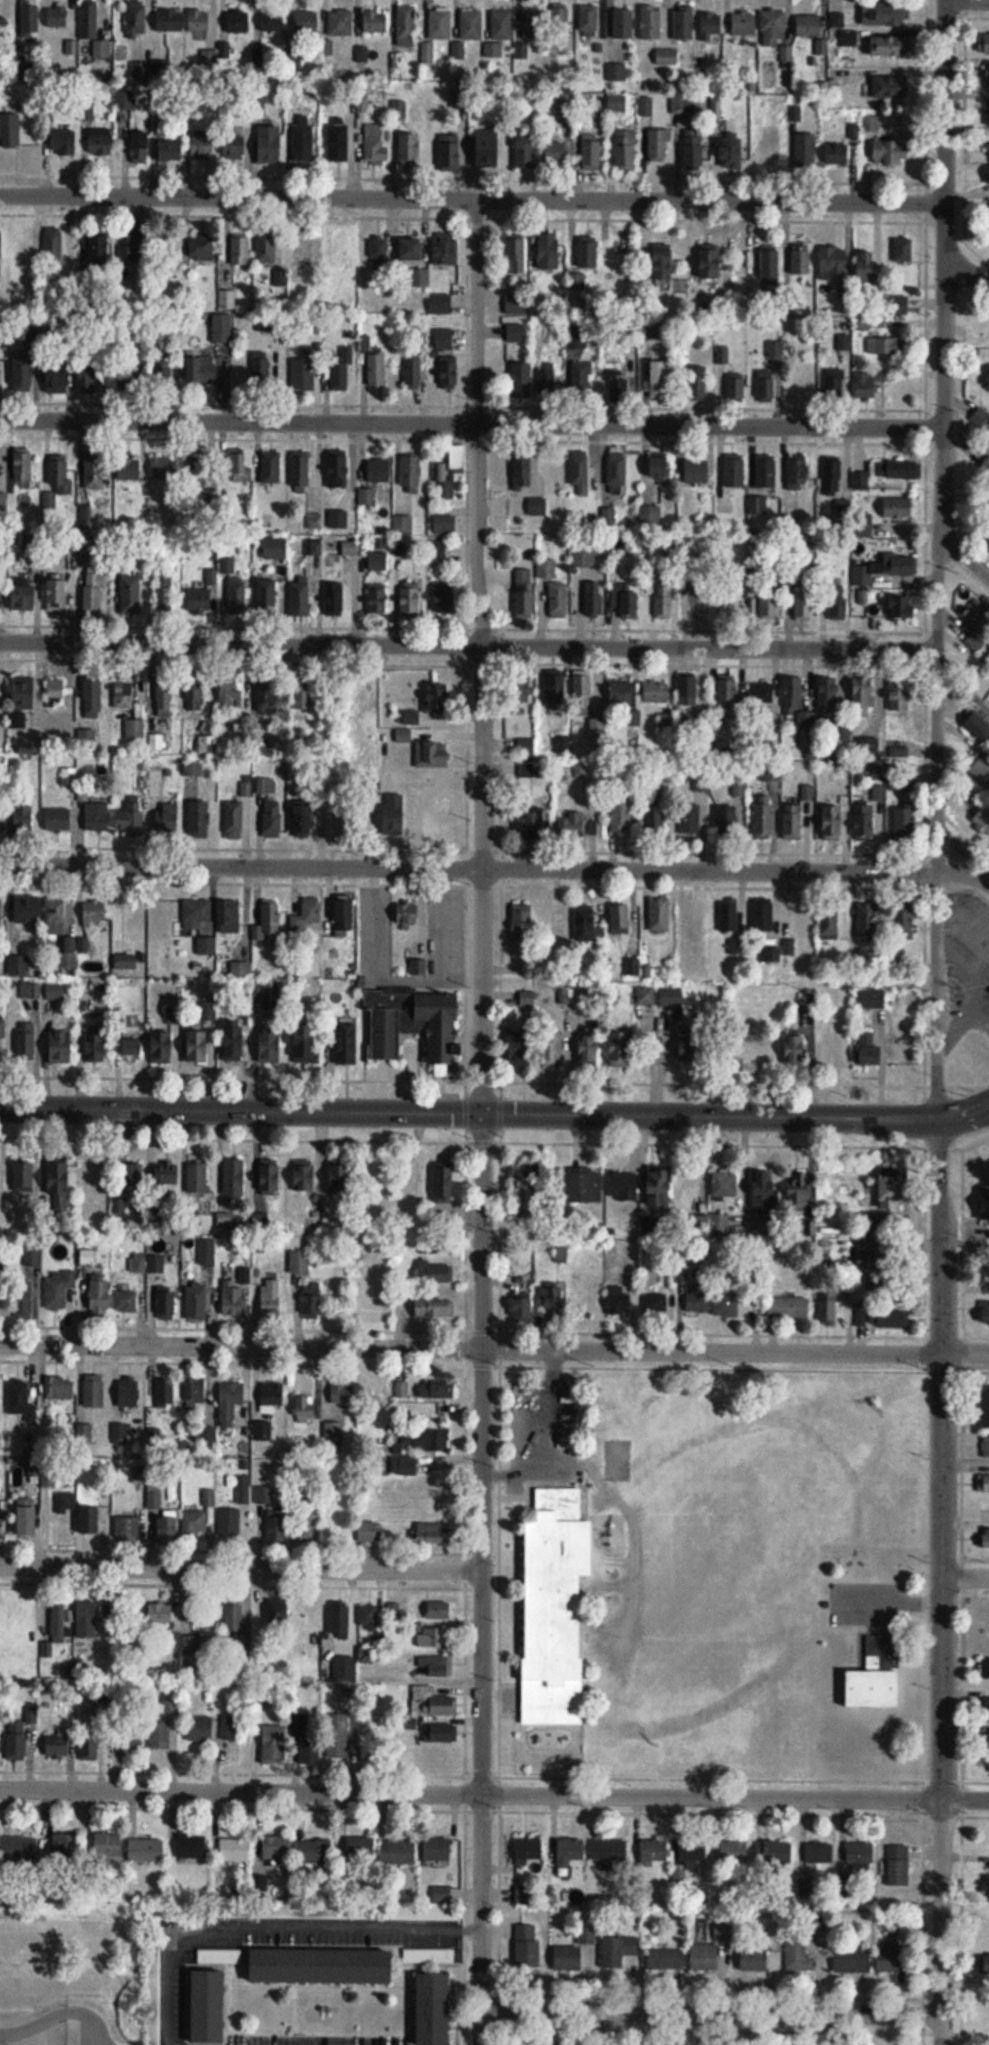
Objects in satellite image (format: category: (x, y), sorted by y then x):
road: (968, 0)
building: (886, 14)
building: (57, 17)
building: (136, 18)
building: (30, 20)
building: (589, 20)
building: (89, 21)
building: (170, 21)
building: (201, 21)
building: (239, 22)
building: (272, 22)
building: (326, 22)
building: (375, 22)
building: (560, 22)
building: (651, 22)
building: (439, 23)
building: (711, 23)
building: (743, 23)
building: (470, 24)
building: (623, 24)
building: (684, 25)
building: (406, 26)
building: (532, 26)
building: (774, 28)
building: (813, 31)
building: (500, 33)
building: (850, 37)
building: (985, 44)
building: (889, 45)
building: (327, 48)
building: (667, 57)
building: (162, 71)
building: (616, 72)
building: (987, 74)
building: (890, 87)
building: (457, 99)
building: (617, 103)
building: (564, 106)
building: (646, 109)
building: (10, 130)
building: (338, 139)
building: (100, 141)
building: (988, 141)
building: (63, 142)
building: (304, 142)
building: (658, 144)
building: (270, 145)
building: (203, 146)
building: (375, 146)
building: (140, 147)
building: (234, 147)
building: (409, 148)
building: (488, 148)
building: (625, 149)
building: (732, 149)
building: (171, 150)
building: (770, 150)
building: (805, 150)
building: (450, 151)
building: (694, 151)
building: (524, 152)
building: (891, 152)
building: (592, 153)
building: (557, 154)
building: (838, 154)
building: (988, 176)
road: (472, 199)
building: (988, 202)
building: (1, 244)
building: (53, 244)
building: (130, 245)
building: (99, 246)
building: (25, 248)
building: (200, 248)
building: (342, 248)
building: (266, 249)
building: (446, 249)
building: (903, 249)
building: (240, 250)
building: (302, 250)
building: (411, 251)
building: (549, 251)
building: (588, 252)
building: (516, 253)
building: (379, 254)
building: (801, 259)
building: (833, 260)
building: (710, 261)
building: (663, 262)
building: (770, 266)
building: (863, 267)
road: (967, 272)
building: (575, 281)
building: (226, 300)
building: (440, 303)
building: (516, 303)
building: (899, 304)
road: (476, 313)
building: (222, 328)
building: (515, 332)
building: (541, 334)
building: (444, 339)
building: (843, 341)
building: (886, 345)
building: (775, 348)
building: (261, 367)
building: (206, 369)
building: (377, 369)
building: (341, 370)
building: (25, 372)
building: (163, 372)
building: (303, 372)
building: (449, 372)
building: (88, 376)
building: (129, 376)
building: (522, 378)
building: (547, 378)
building: (987, 378)
building: (580, 379)
building: (661, 379)
building: (874, 379)
building: (58, 380)
building: (618, 382)
building: (697, 383)
building: (834, 383)
building: (766, 386)
building: (736, 388)
road: (471, 426)
building: (23, 465)
building: (985, 466)
building: (241, 467)
building: (272, 468)
building: (659, 468)
building: (161, 469)
building: (94, 470)
building: (129, 470)
building: (197, 470)
building: (833, 470)
building: (899, 470)
building: (379, 471)
building: (698, 471)
building: (735, 471)
building: (766, 471)
building: (797, 471)
building: (300, 472)
building: (450, 472)
building: (338, 473)
building: (522, 473)
building: (580, 473)
building: (616, 473)
building: (410, 474)
building: (861, 480)
building: (367, 498)
building: (986, 504)
building: (757, 506)
building: (537, 508)
building: (899, 508)
building: (649, 515)
building: (337, 521)
building: (315, 522)
building: (445, 525)
building: (863, 526)
building: (276, 546)
building: (314, 547)
building: (356, 555)
building: (583, 555)
road: (964, 557)
building: (545, 568)
building: (884, 570)
building: (94, 592)
building: (130, 593)
building: (164, 593)
building: (524, 593)
building: (25, 595)
building: (57, 595)
building: (267, 596)
building: (237, 597)
building: (300, 597)
building: (411, 598)
building: (864, 598)
building: (335, 600)
building: (377, 600)
building: (558, 600)
building: (591, 600)
building: (664, 600)
building: (199, 601)
building: (445, 601)
building: (624, 602)
building: (804, 602)
building: (838, 602)
building: (698, 604)
building: (769, 605)
building: (730, 608)
building: (903, 608)
building: (979, 628)
road: (468, 646)
building: (583, 690)
building: (687, 690)
building: (521, 691)
building: (556, 691)
building: (656, 692)
building: (622, 693)
building: (864, 693)
building: (899, 693)
building: (24, 694)
building: (55, 694)
building: (124, 694)
building: (761, 694)
building: (828, 694)
building: (230, 695)
building: (195, 696)
building: (267, 696)
building: (92, 698)
building: (164, 698)
building: (437, 699)
building: (728, 699)
building: (795, 700)
building: (135, 730)
building: (158, 741)
building: (526, 745)
building: (867, 747)
building: (433, 754)
building: (526, 770)
building: (582, 770)
building: (981, 771)
building: (702, 782)
building: (808, 793)
building: (392, 814)
building: (655, 816)
building: (97, 817)
building: (763, 817)
building: (1, 818)
building: (131, 818)
building: (166, 818)
building: (622, 818)
building: (690, 819)
building: (58, 820)
building: (199, 820)
building: (234, 820)
building: (273, 820)
building: (304, 820)
building: (23, 821)
building: (793, 821)
building: (981, 821)
building: (533, 822)
building: (864, 822)
building: (728, 823)
building: (833, 823)
building: (581, 824)
building: (904, 825)
road: (497, 868)
building: (26, 912)
building: (0, 913)
building: (196, 914)
building: (94, 915)
building: (408, 915)
building: (659, 915)
building: (763, 915)
building: (307, 916)
building: (344, 916)
building: (728, 916)
building: (57, 917)
building: (229, 917)
building: (270, 917)
building: (691, 917)
building: (549, 919)
building: (620, 919)
building: (799, 919)
building: (866, 919)
building: (159, 920)
building: (522, 920)
building: (587, 925)
building: (904, 925)
building: (829, 926)
building: (206, 946)
building: (68, 953)
building: (125, 961)
building: (174, 967)
building: (240, 969)
building: (263, 988)
building: (30, 990)
building: (91, 995)
building: (671, 996)
building: (650, 997)
building: (872, 998)
building: (760, 1015)
road: (936, 1023)
building: (414, 1025)
building: (2, 1028)
building: (26, 1039)
building: (234, 1040)
building: (347, 1041)
building: (307, 1044)
building: (831, 1044)
building: (162, 1045)
building: (271, 1045)
building: (690, 1046)
building: (795, 1046)
building: (61, 1047)
building: (95, 1047)
building: (132, 1047)
building: (197, 1047)
building: (521, 1049)
building: (553, 1049)
building: (589, 1049)
building: (620, 1049)
building: (870, 1049)
building: (746, 1050)
road: (469, 1113)
road: (964, 1117)
building: (375, 1174)
building: (166, 1175)
building: (304, 1175)
building: (341, 1176)
building: (24, 1177)
building: (132, 1177)
building: (233, 1177)
building: (270, 1177)
building: (198, 1179)
building: (92, 1180)
building: (445, 1181)
building: (60, 1183)
building: (725, 1184)
building: (584, 1185)
building: (623, 1185)
building: (659, 1186)
building: (893, 1189)
building: (798, 1190)
building: (527, 1191)
building: (764, 1192)
building: (985, 1203)
road: (483, 1219)
building: (207, 1248)
building: (432, 1249)
building: (300, 1262)
building: (139, 1264)
building: (157, 1264)
building: (29, 1271)
building: (438, 1273)
building: (988, 1275)
building: (58, 1288)
building: (1, 1292)
building: (99, 1295)
building: (368, 1295)
building: (271, 1298)
building: (698, 1298)
building: (234, 1299)
building: (619, 1300)
building: (311, 1301)
building: (555, 1301)
building: (125, 1302)
building: (656, 1302)
building: (196, 1303)
building: (727, 1303)
building: (167, 1304)
building: (434, 1306)
building: (827, 1306)
building: (523, 1307)
building: (789, 1308)
building: (985, 1312)
building: (888, 1319)
road: (494, 1350)
road: (551, 1364)
building: (59, 1387)
building: (402, 1389)
building: (437, 1389)
building: (129, 1392)
building: (195, 1392)
building: (164, 1393)
building: (273, 1394)
building: (20, 1401)
building: (230, 1401)
building: (89, 1403)
building: (305, 1406)
building: (985, 1408)
building: (335, 1409)
building: (119, 1433)
parking lot: (540, 1435)
building: (986, 1445)
building: (415, 1448)
building: (984, 1483)
building: (264, 1494)
building: (65, 1502)
building: (235, 1513)
building: (27, 1516)
building: (339, 1518)
building: (90, 1520)
building: (164, 1520)
building: (195, 1522)
building: (277, 1524)
building: (308, 1524)
building: (127, 1528)
building: (368, 1531)
building: (434, 1533)
building: (986, 1537)
road: (241, 1569)
road: (966, 1576)
building: (555, 1609)
building: (439, 1610)
building: (393, 1611)
building: (160, 1613)
building: (278, 1614)
building: (234, 1616)
building: (368, 1617)
building: (986, 1617)
building: (87, 1618)
building: (339, 1621)
building: (58, 1622)
building: (433, 1638)
building: (366, 1656)
building: (433, 1667)
building: (985, 1668)
building: (874, 1686)
building: (431, 1702)
building: (171, 1706)
building: (986, 1709)
building: (231, 1728)
building: (202, 1729)
building: (442, 1733)
building: (159, 1735)
building: (339, 1736)
building: (127, 1739)
building: (16, 1740)
building: (988, 1742)
building: (274, 1743)
building: (90, 1745)
building: (58, 1747)
building: (310, 1747)
building: (441, 1758)
road: (494, 1794)
building: (67, 1845)
building: (108, 1845)
building: (193, 1847)
building: (19, 1848)
building: (276, 1848)
building: (438, 1849)
building: (145, 1850)
building: (232, 1850)
building: (360, 1850)
building: (528, 1850)
building: (654, 1851)
building: (314, 1852)
building: (398, 1852)
building: (570, 1852)
building: (609, 1852)
building: (733, 1852)
building: (778, 1853)
building: (819, 1853)
building: (860, 1856)
building: (689, 1857)
building: (899, 1865)
building: (442, 1895)
building: (524, 1895)
road: (276, 1928)
building: (712, 1945)
building: (527, 1946)
building: (618, 1951)
building: (428, 1955)
building: (799, 1957)
building: (568, 1958)
building: (665, 1959)
building: (754, 1960)
building: (852, 1960)
building: (892, 1960)
building: (984, 1963)
building: (322, 1967)
building: (153, 1975)
building: (209, 2008)
building: (435, 2009)
road: (709, 2015)
road: (481, 2028)
road: (942, 2033)

